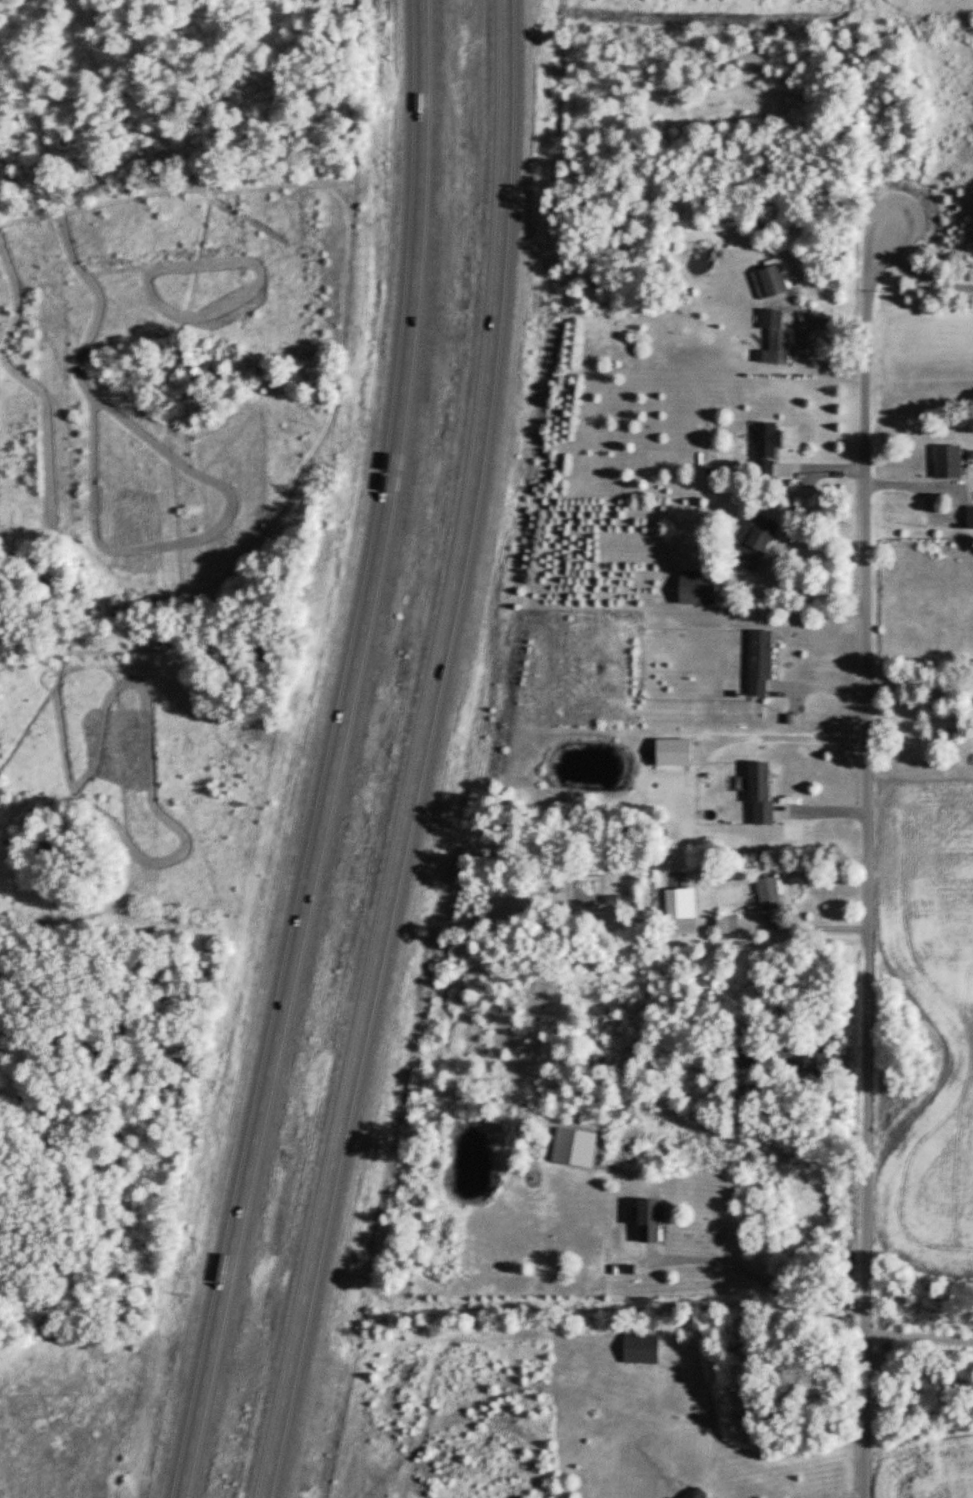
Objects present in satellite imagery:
road: (921, 275)
building: (772, 282)
building: (777, 339)
building: (770, 446)
building: (952, 460)
road: (950, 486)
road: (964, 489)
building: (971, 516)
building: (760, 542)
building: (701, 586)
building: (761, 662)
road: (820, 681)
road: (919, 681)
road: (340, 753)
road: (427, 753)
building: (763, 792)
road: (864, 856)
building: (614, 899)
road: (813, 923)
building: (730, 924)
building: (654, 1220)
road: (754, 1276)
road: (917, 1336)
building: (640, 1347)
building: (697, 1493)

